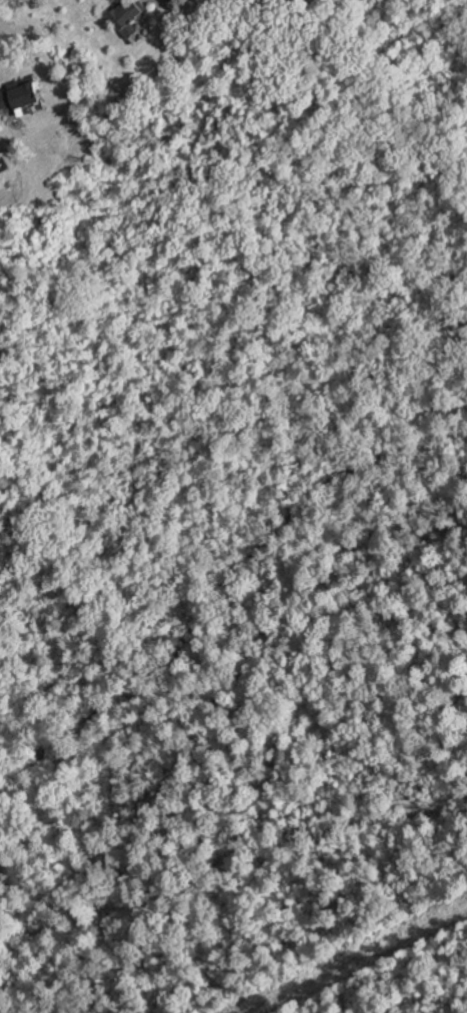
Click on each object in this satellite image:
building: (131, 16)
building: (21, 94)
road: (353, 959)

